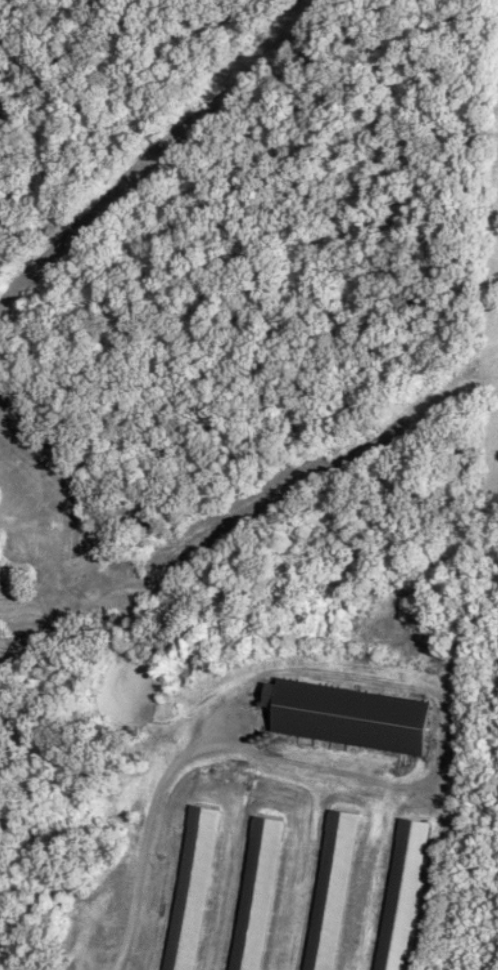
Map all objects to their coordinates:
building: (349, 717)
building: (189, 889)
building: (327, 891)
building: (253, 894)
building: (397, 897)

